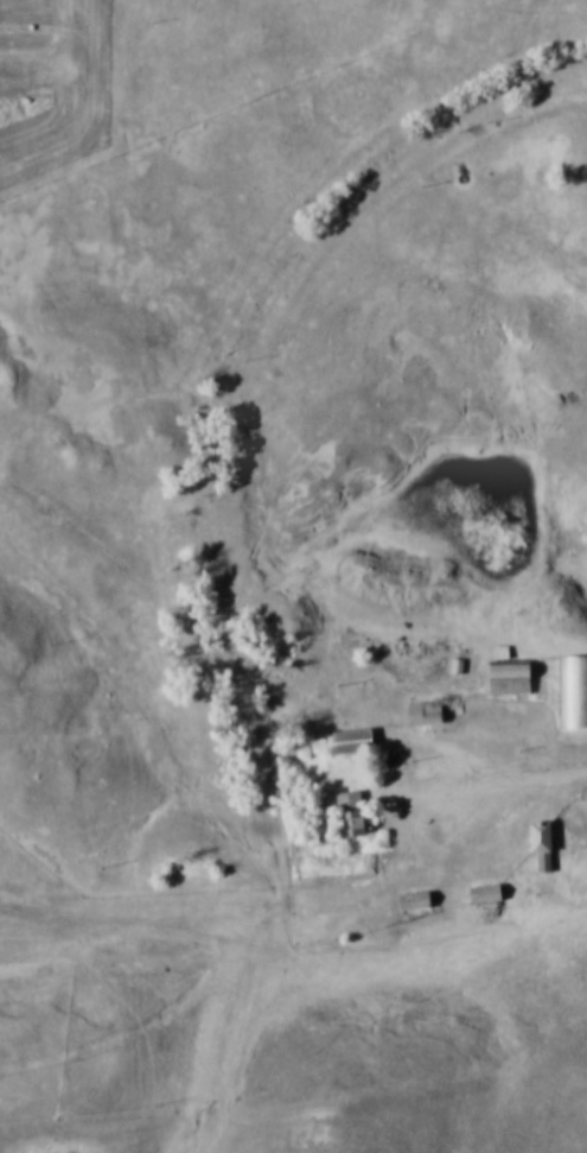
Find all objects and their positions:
building: (509, 678)
building: (572, 693)
building: (423, 714)
building: (349, 743)
road: (528, 787)
building: (350, 816)
building: (541, 845)
building: (484, 895)
building: (413, 901)
road: (248, 906)

